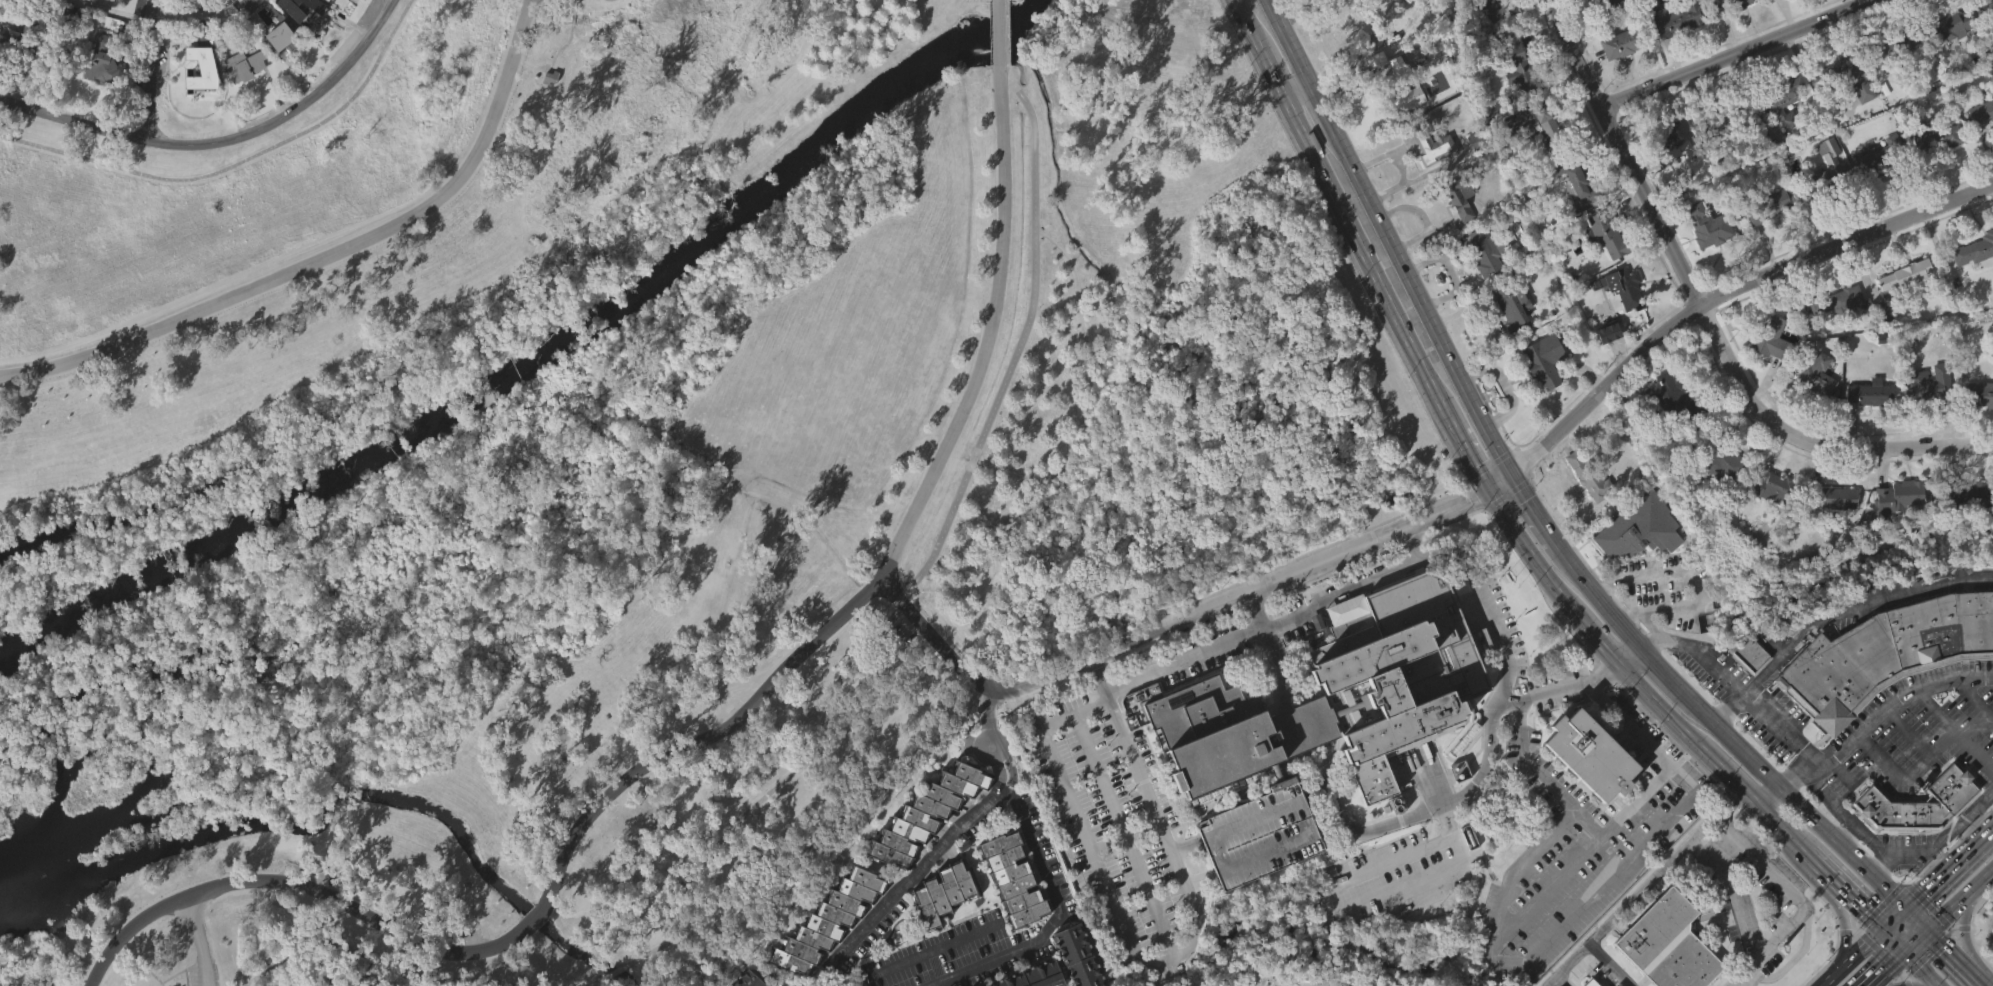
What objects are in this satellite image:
building: (61, 0)
building: (327, 1)
road: (997, 1)
road: (1006, 1)
building: (1830, 1)
building: (344, 2)
building: (97, 4)
building: (1727, 4)
building: (1988, 4)
building: (1608, 5)
building: (1500, 8)
building: (257, 10)
building: (1787, 11)
building: (308, 14)
building: (325, 17)
building: (1677, 17)
road: (155, 20)
road: (1250, 20)
building: (264, 21)
building: (68, 22)
building: (1610, 22)
park: (1356, 23)
building: (1950, 25)
building: (102, 27)
building: (1732, 30)
road: (997, 34)
road: (1006, 34)
building: (1988, 34)
building: (18, 35)
building: (248, 35)
building: (282, 37)
road: (1289, 39)
building: (1495, 42)
building: (1624, 42)
building: (1892, 48)
building: (48, 50)
building: (1673, 54)
road: (1737, 54)
building: (100, 60)
building: (1946, 61)
building: (246, 66)
road: (1272, 66)
building: (1520, 70)
road: (152, 71)
building: (9, 72)
building: (279, 72)
building: (196, 76)
building: (1846, 76)
building: (1899, 77)
building: (1616, 80)
building: (1402, 83)
road: (1297, 85)
building: (100, 96)
building: (241, 101)
building: (1784, 101)
road: (1323, 102)
building: (200, 103)
building: (1514, 104)
building: (1846, 111)
building: (1982, 111)
building: (546, 113)
building: (1728, 119)
building: (1550, 127)
building: (1405, 134)
building: (1518, 136)
building: (1936, 136)
building: (1778, 137)
road: (221, 140)
building: (1674, 144)
building: (1433, 146)
building: (1979, 146)
road: (1625, 154)
building: (1542, 156)
building: (1716, 158)
building: (1879, 158)
road: (240, 164)
building: (1934, 172)
building: (1824, 174)
building: (1670, 176)
building: (1578, 179)
building: (1432, 182)
building: (1879, 186)
building: (1460, 194)
building: (1769, 205)
building: (1573, 215)
building: (1708, 225)
building: (1604, 234)
building: (1455, 236)
building: (1766, 241)
building: (1975, 249)
building: (1486, 252)
road: (325, 257)
road: (1364, 257)
building: (1704, 261)
building: (1601, 268)
building: (1907, 273)
building: (1972, 285)
building: (1482, 287)
building: (1626, 287)
road: (1732, 292)
road: (1422, 298)
building: (1837, 300)
building: (1513, 305)
building: (1901, 310)
building: (1623, 314)
building: (1609, 332)
building: (1833, 336)
building: (1772, 338)
building: (1510, 342)
building: (1880, 347)
building: (1545, 360)
building: (1604, 367)
building: (1767, 372)
building: (1816, 377)
building: (1926, 388)
building: (1868, 392)
building: (1981, 392)
building: (1541, 396)
building: (1681, 403)
building: (1813, 410)
building: (1919, 421)
road: (1072, 428)
building: (1866, 428)
building: (1979, 428)
road: (1811, 442)
road: (1468, 454)
building: (1721, 460)
park: (625, 465)
traffic signals: (1513, 468)
building: (1590, 476)
road: (1499, 478)
traffic signals: (1486, 488)
building: (1773, 489)
building: (1903, 494)
building: (1834, 497)
building: (1719, 499)
road: (1539, 505)
building: (1585, 512)
building: (1768, 522)
building: (1960, 526)
building: (1639, 527)
building: (1895, 532)
building: (1830, 533)
road: (1407, 544)
road: (889, 554)
road: (1532, 554)
road: (928, 556)
building: (1636, 563)
road: (1691, 577)
road: (1476, 588)
road: (1601, 591)
road: (1854, 605)
road: (1650, 626)
road: (1165, 630)
road: (1596, 640)
road: (1627, 647)
road: (1270, 650)
building: (1749, 653)
building: (1888, 655)
road: (1662, 662)
road: (1100, 676)
road: (1737, 687)
road: (1557, 689)
building: (1746, 690)
road: (1977, 696)
road: (1731, 706)
road: (1664, 708)
road: (1934, 710)
road: (1878, 713)
building: (1320, 720)
building: (1144, 728)
road: (1906, 729)
road: (1295, 732)
building: (1465, 739)
building: (1592, 754)
road: (1924, 754)
road: (1740, 782)
building: (1587, 789)
road: (1775, 797)
road: (1796, 798)
building: (1917, 803)
building: (926, 811)
road: (1617, 814)
road: (1979, 823)
road: (1387, 826)
road: (1122, 827)
road: (1787, 830)
road: (1847, 832)
road: (949, 834)
building: (1915, 837)
road: (1976, 841)
building: (924, 849)
road: (1895, 855)
road: (1878, 863)
road: (1933, 865)
building: (1257, 869)
building: (1012, 876)
road: (1934, 881)
road: (1104, 882)
road: (1646, 885)
road: (297, 887)
road: (1545, 889)
traffic signals: (1925, 890)
building: (942, 892)
road: (1847, 892)
road: (1729, 893)
road: (1341, 899)
road: (1798, 899)
road: (1947, 907)
traffic signals: (1865, 910)
building: (1011, 914)
road: (1841, 914)
road: (1918, 917)
road: (534, 919)
building: (827, 919)
road: (1055, 919)
road: (1897, 919)
road: (1992, 926)
road: (1963, 927)
building: (940, 928)
road: (1847, 929)
road: (1965, 934)
road: (310, 940)
road: (199, 941)
road: (1546, 941)
road: (1894, 941)
road: (951, 943)
building: (1662, 944)
building: (833, 947)
traffic signals: (1945, 947)
building: (1077, 955)
road: (1955, 957)
road: (1855, 958)
road: (900, 965)
road: (1611, 965)
road: (1884, 968)
traffic signals: (1885, 968)
road: (1920, 968)
road: (1904, 969)
road: (612, 972)
building: (1033, 975)
building: (747, 979)
road: (1904, 979)
road: (586, 983)
building: (1592, 983)
building: (1618, 985)
road: (1907, 985)

